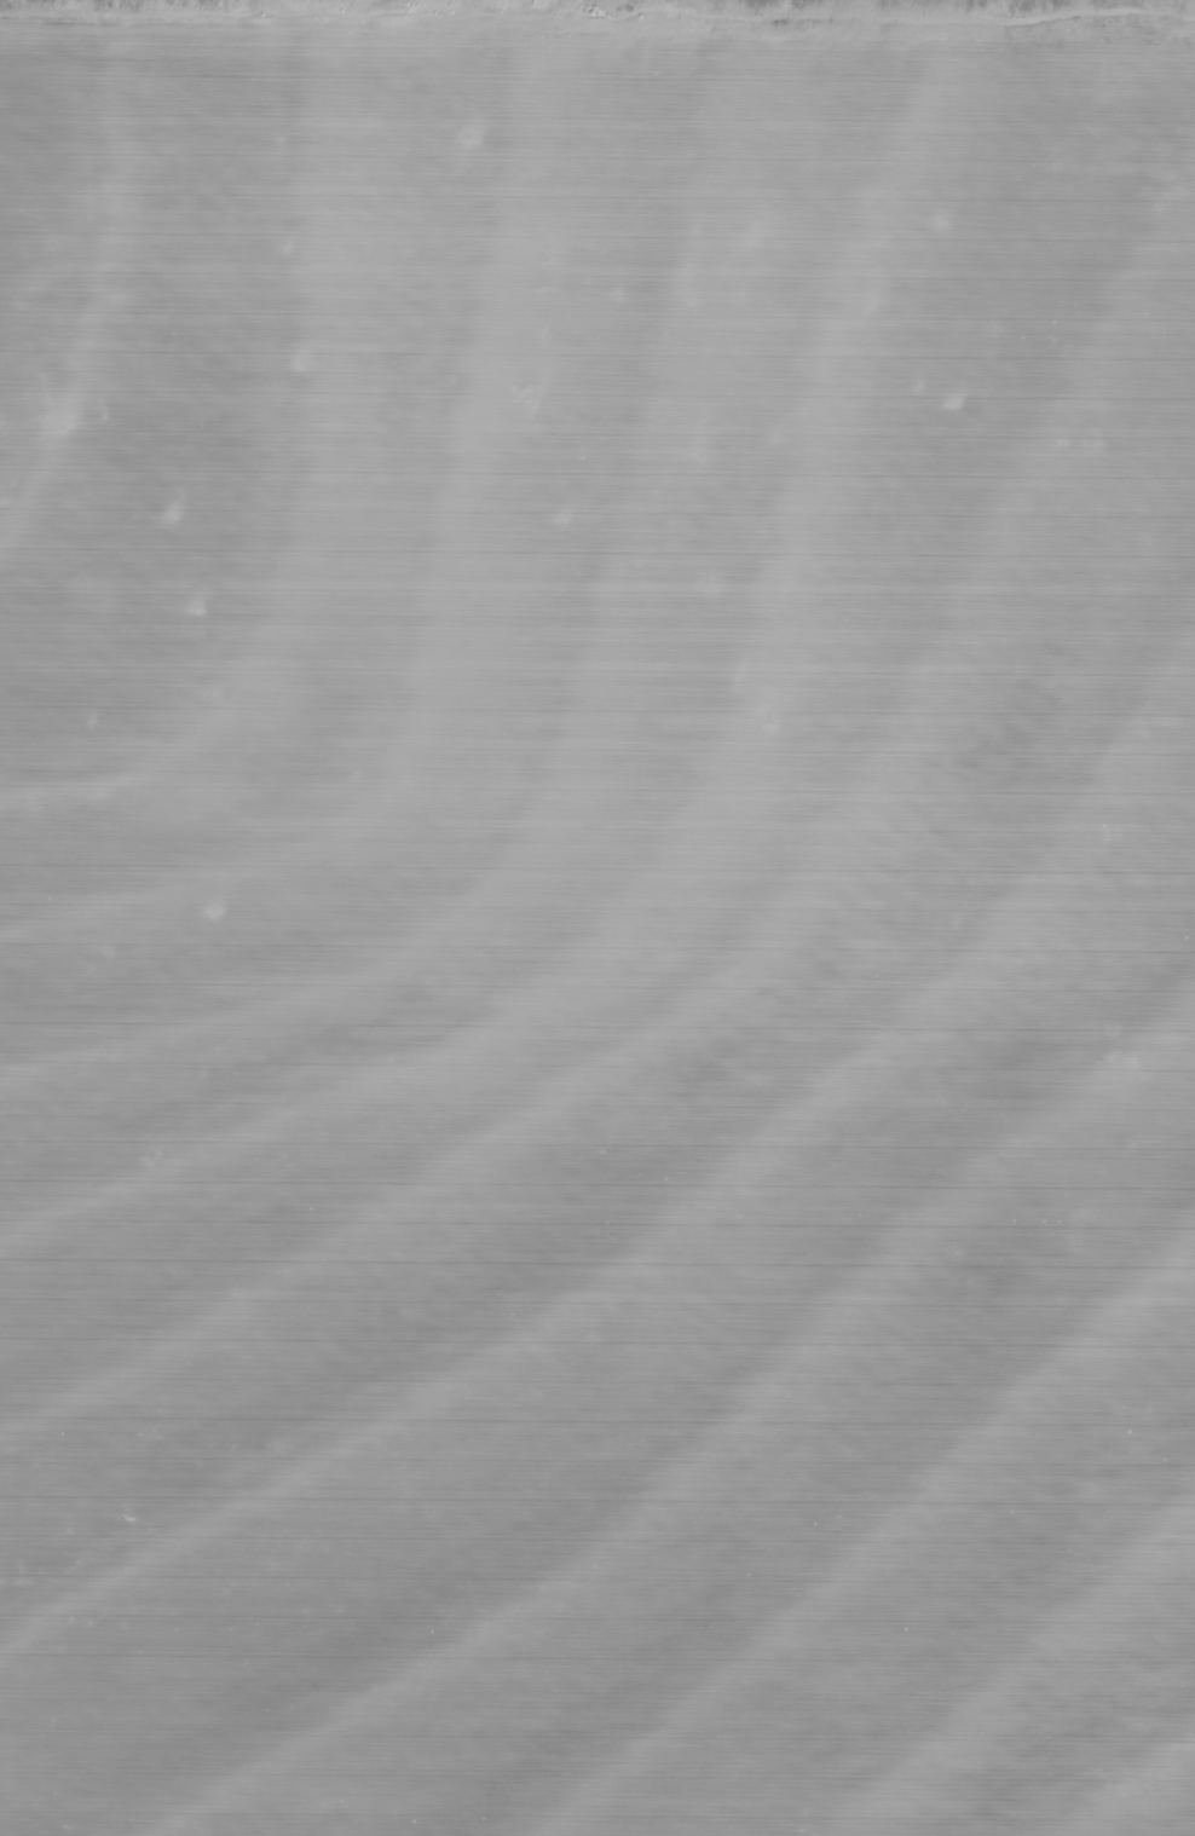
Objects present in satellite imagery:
road: (597, 36)

